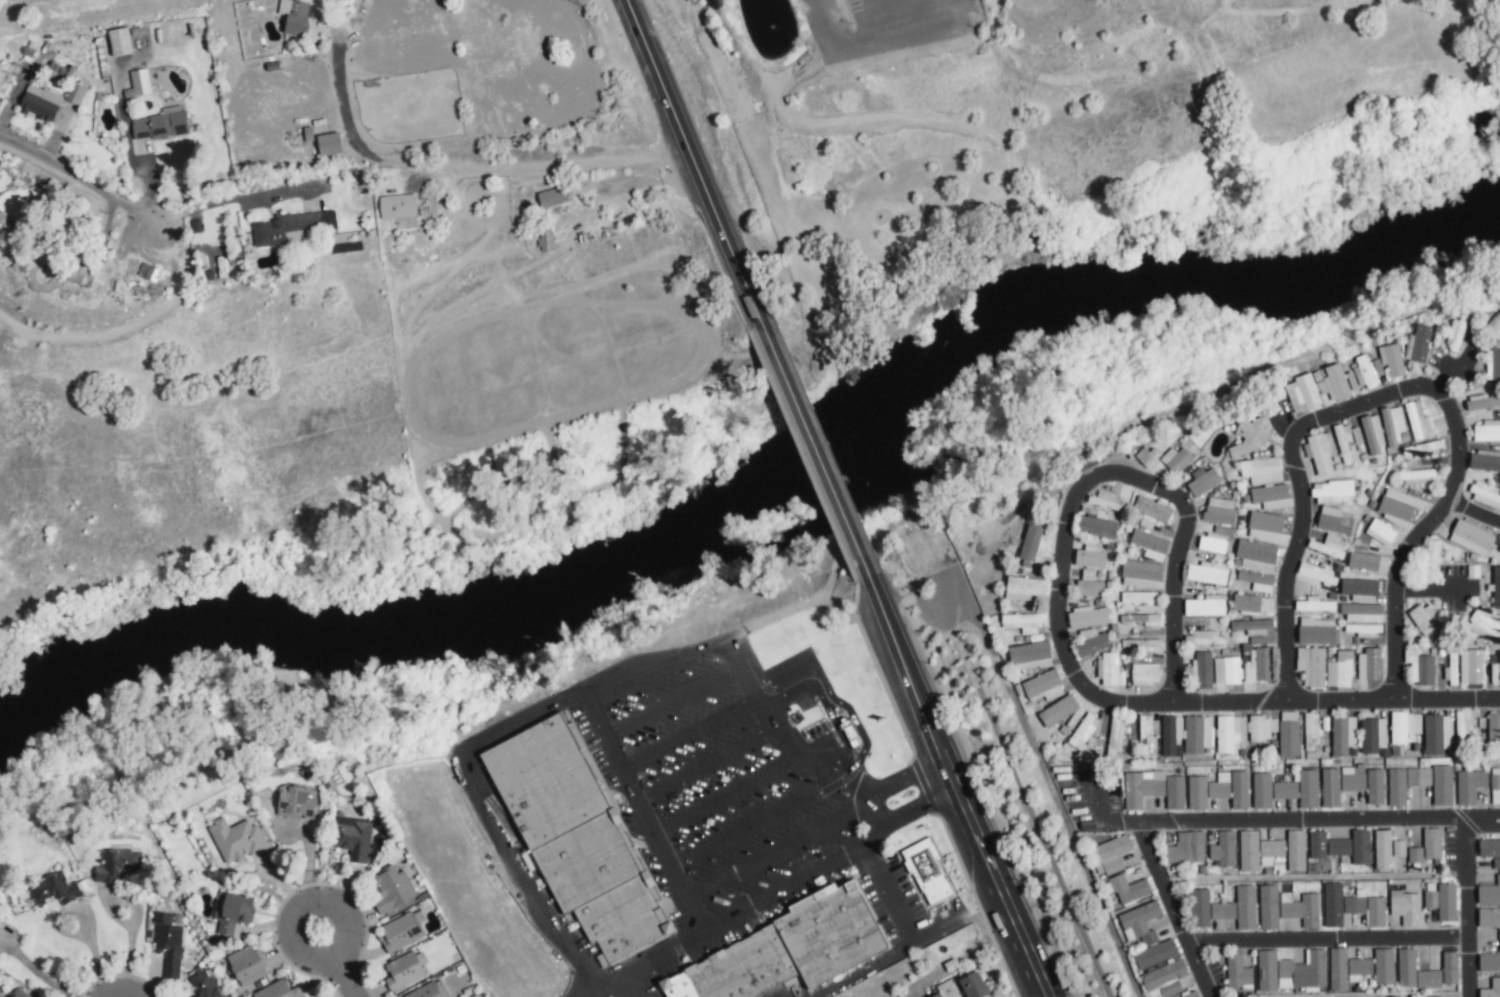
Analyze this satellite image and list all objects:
building: (294, 16)
road: (898, 37)
building: (120, 42)
road: (833, 43)
building: (139, 82)
building: (74, 93)
building: (40, 103)
road: (675, 116)
building: (160, 124)
building: (324, 143)
road: (457, 167)
building: (552, 197)
road: (150, 203)
building: (397, 206)
building: (290, 228)
building: (545, 240)
building: (148, 271)
building: (1494, 326)
building: (1457, 332)
building: (1419, 343)
building: (1391, 360)
building: (1494, 365)
building: (1365, 371)
building: (1332, 383)
building: (1351, 383)
building: (1302, 394)
road: (1391, 395)
road: (795, 406)
building: (1417, 420)
building: (1392, 425)
building: (1487, 431)
building: (1372, 433)
building: (1249, 437)
building: (1342, 441)
building: (1421, 448)
building: (1320, 452)
building: (1147, 456)
building: (1177, 459)
building: (1484, 461)
building: (1261, 470)
building: (1416, 477)
building: (1203, 482)
road: (1083, 488)
crop: (9, 492)
building: (1332, 492)
building: (1485, 495)
building: (1270, 497)
railway: (892, 499)
river: (771, 501)
building: (1105, 501)
building: (1396, 507)
building: (1150, 511)
building: (1219, 511)
road: (1472, 512)
building: (1333, 521)
building: (1096, 527)
building: (1380, 532)
building: (1471, 538)
building: (1031, 542)
building: (1211, 543)
building: (1149, 544)
building: (1328, 546)
building: (1256, 555)
building: (1431, 555)
building: (1089, 556)
building: (1367, 562)
building: (1207, 573)
building: (1140, 574)
building: (1315, 575)
building: (1256, 581)
building: (1088, 585)
building: (1496, 587)
building: (1025, 589)
road: (1430, 589)
building: (1360, 590)
building: (1138, 597)
building: (1252, 603)
building: (1313, 604)
building: (1205, 606)
building: (1362, 613)
building: (1087, 617)
road: (886, 618)
building: (1141, 620)
building: (1022, 623)
building: (1427, 624)
building: (1483, 624)
building: (1252, 627)
building: (1315, 630)
building: (1364, 630)
building: (1208, 638)
building: (1091, 645)
building: (1140, 645)
building: (1030, 655)
building: (1261, 664)
building: (1369, 664)
building: (1311, 666)
building: (1420, 667)
building: (1470, 667)
building: (1339, 669)
building: (1109, 670)
building: (1203, 670)
building: (1226, 671)
building: (1495, 672)
building: (1144, 674)
building: (1042, 686)
road: (566, 695)
road: (1335, 700)
road: (672, 701)
building: (1058, 711)
building: (1403, 726)
building: (1460, 726)
building: (1493, 726)
building: (1262, 728)
building: (1310, 728)
building: (1082, 731)
road: (690, 733)
building: (1230, 733)
building: (1288, 733)
building: (1115, 734)
building: (1170, 734)
building: (1197, 734)
building: (1436, 734)
building: (1342, 735)
building: (1372, 735)
road: (705, 761)
building: (1418, 776)
building: (1353, 778)
road: (903, 780)
building: (1495, 782)
road: (953, 786)
building: (1374, 786)
building: (1442, 786)
building: (1469, 786)
building: (1141, 787)
building: (1330, 787)
building: (1396, 787)
building: (1308, 788)
building: (1206, 790)
building: (1239, 790)
building: (1270, 790)
road: (724, 792)
building: (1174, 792)
building: (1495, 796)
building: (295, 802)
road: (914, 805)
road: (638, 811)
road: (1310, 821)
road: (754, 822)
building: (568, 831)
building: (352, 837)
building: (236, 840)
building: (1431, 843)
building: (1317, 844)
building: (1338, 847)
building: (1360, 847)
building: (1186, 848)
building: (1398, 848)
building: (1489, 848)
building: (1223, 849)
building: (1382, 849)
building: (1295, 850)
building: (1248, 851)
building: (1270, 851)
road: (777, 854)
building: (1109, 855)
building: (1415, 855)
building: (1496, 863)
building: (116, 864)
road: (309, 871)
building: (927, 872)
building: (391, 889)
building: (1128, 889)
building: (54, 890)
building: (1489, 893)
building: (1442, 901)
building: (1339, 905)
building: (1245, 907)
building: (1268, 907)
building: (1405, 907)
building: (1200, 908)
road: (1464, 908)
building: (1300, 909)
road: (743, 910)
building: (1222, 910)
building: (232, 911)
road: (1171, 911)
building: (1375, 912)
building: (1488, 917)
building: (1140, 923)
building: (401, 932)
road: (1325, 942)
building: (168, 943)
road: (909, 943)
building: (774, 948)
building: (1155, 954)
road: (1026, 955)
road: (95, 956)
building: (1490, 960)
road: (337, 962)
building: (246, 966)
building: (1383, 966)
building: (1449, 968)
building: (1337, 969)
building: (1358, 969)
road: (34, 971)
building: (404, 971)
building: (1266, 971)
building: (1302, 971)
building: (1414, 972)
building: (1237, 973)
building: (1162, 980)
building: (205, 984)
building: (973, 985)
road: (628, 987)
building: (1491, 989)
building: (278, 990)
building: (429, 990)
building: (18, 993)
building: (936, 995)
building: (1191, 995)

